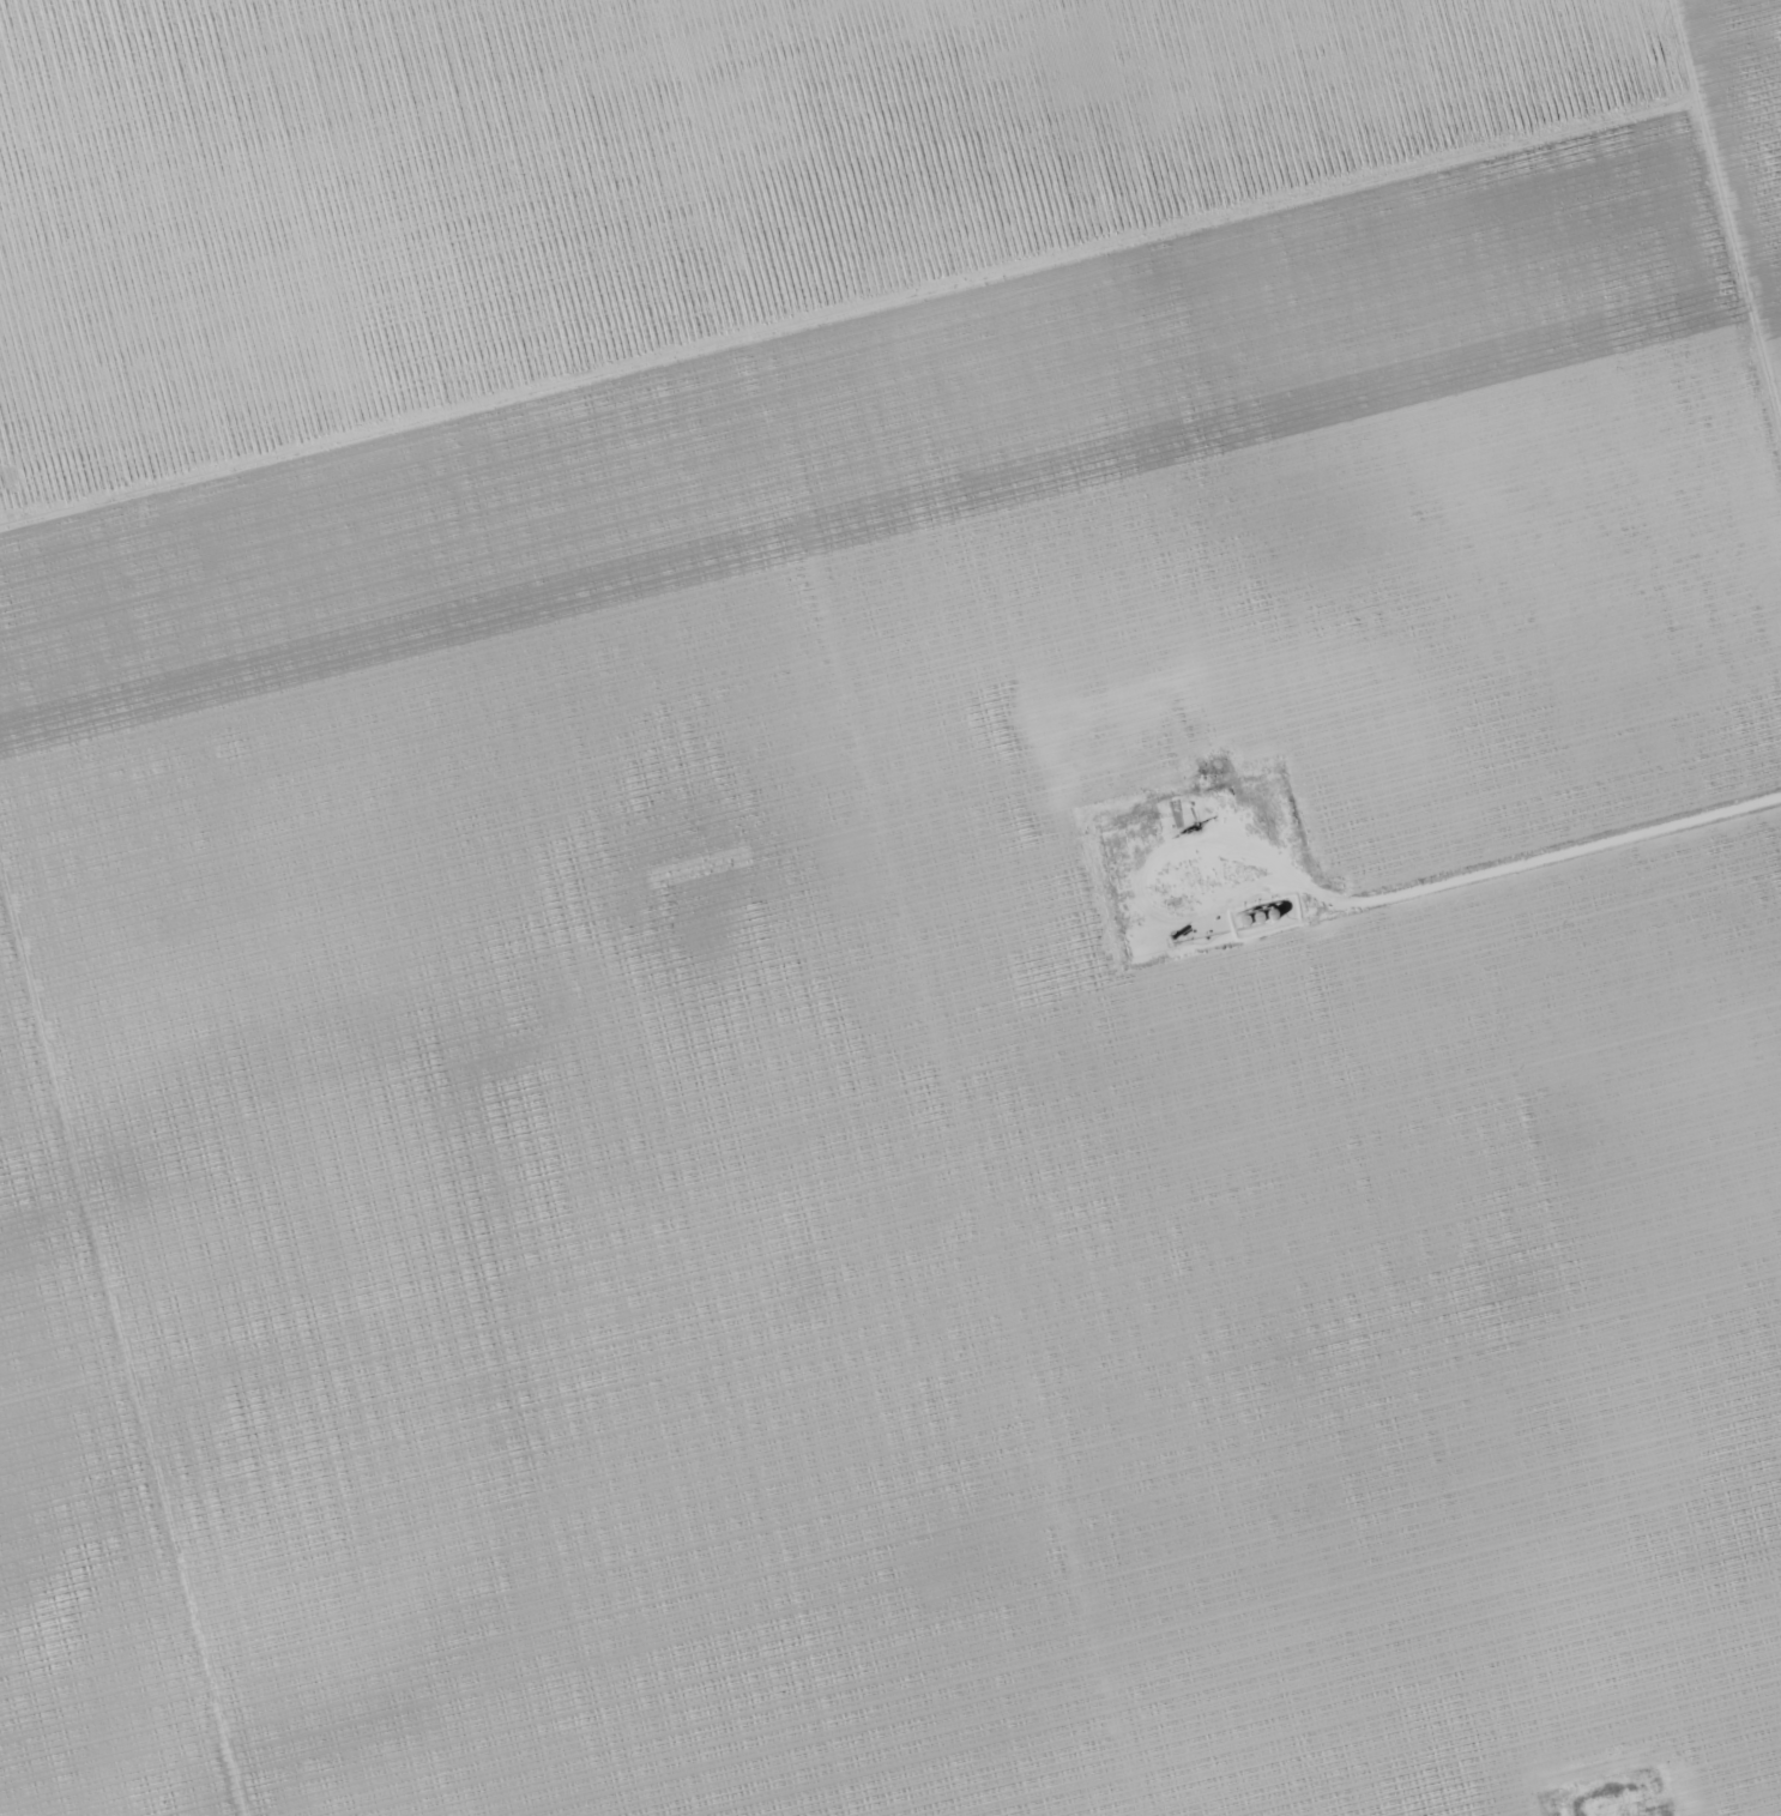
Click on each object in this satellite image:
river: (1509, 192)

